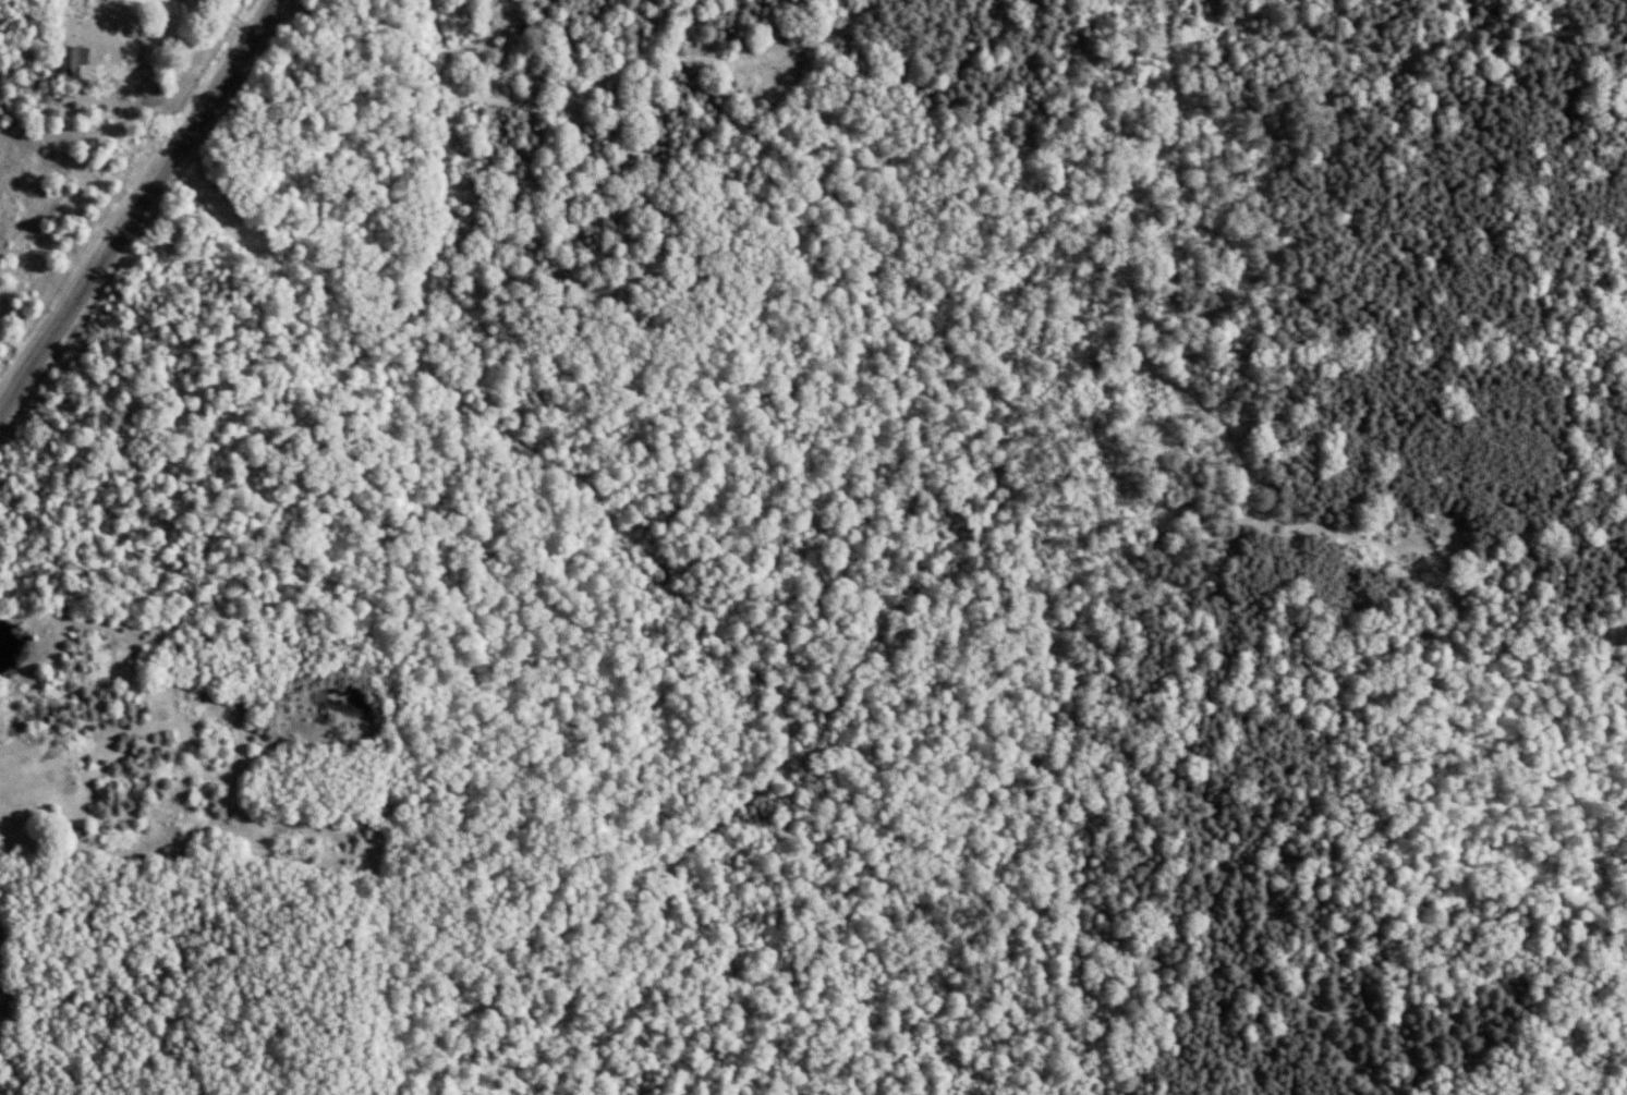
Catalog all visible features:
road: (228, 16)
building: (78, 57)
road: (141, 207)

